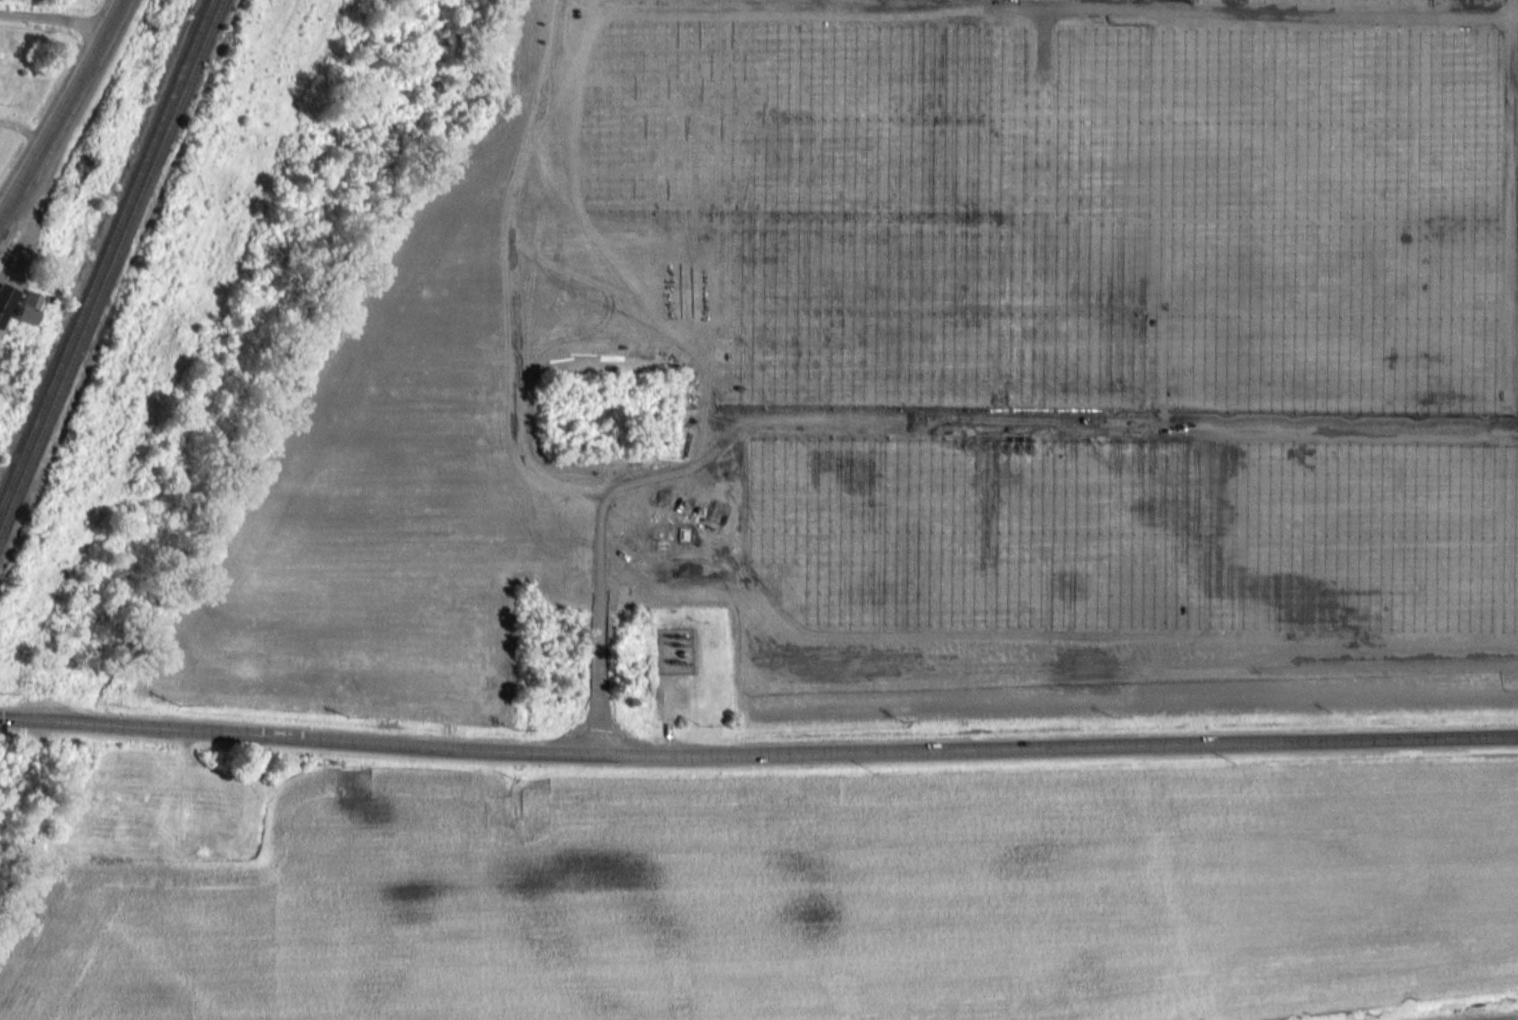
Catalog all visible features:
road: (115, 11)
road: (55, 17)
road: (56, 122)
road: (24, 128)
railway: (105, 251)
railway: (110, 263)
building: (6, 300)
building: (27, 307)
road: (758, 749)

